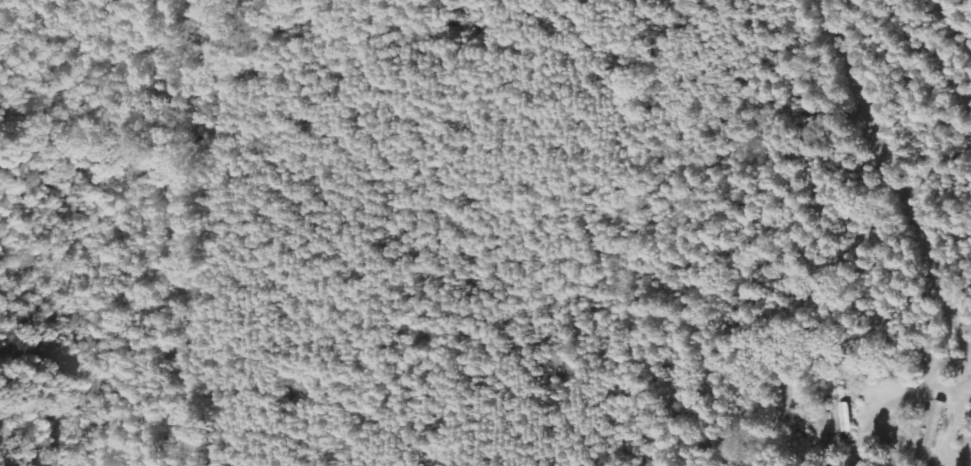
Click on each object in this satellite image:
building: (935, 425)

